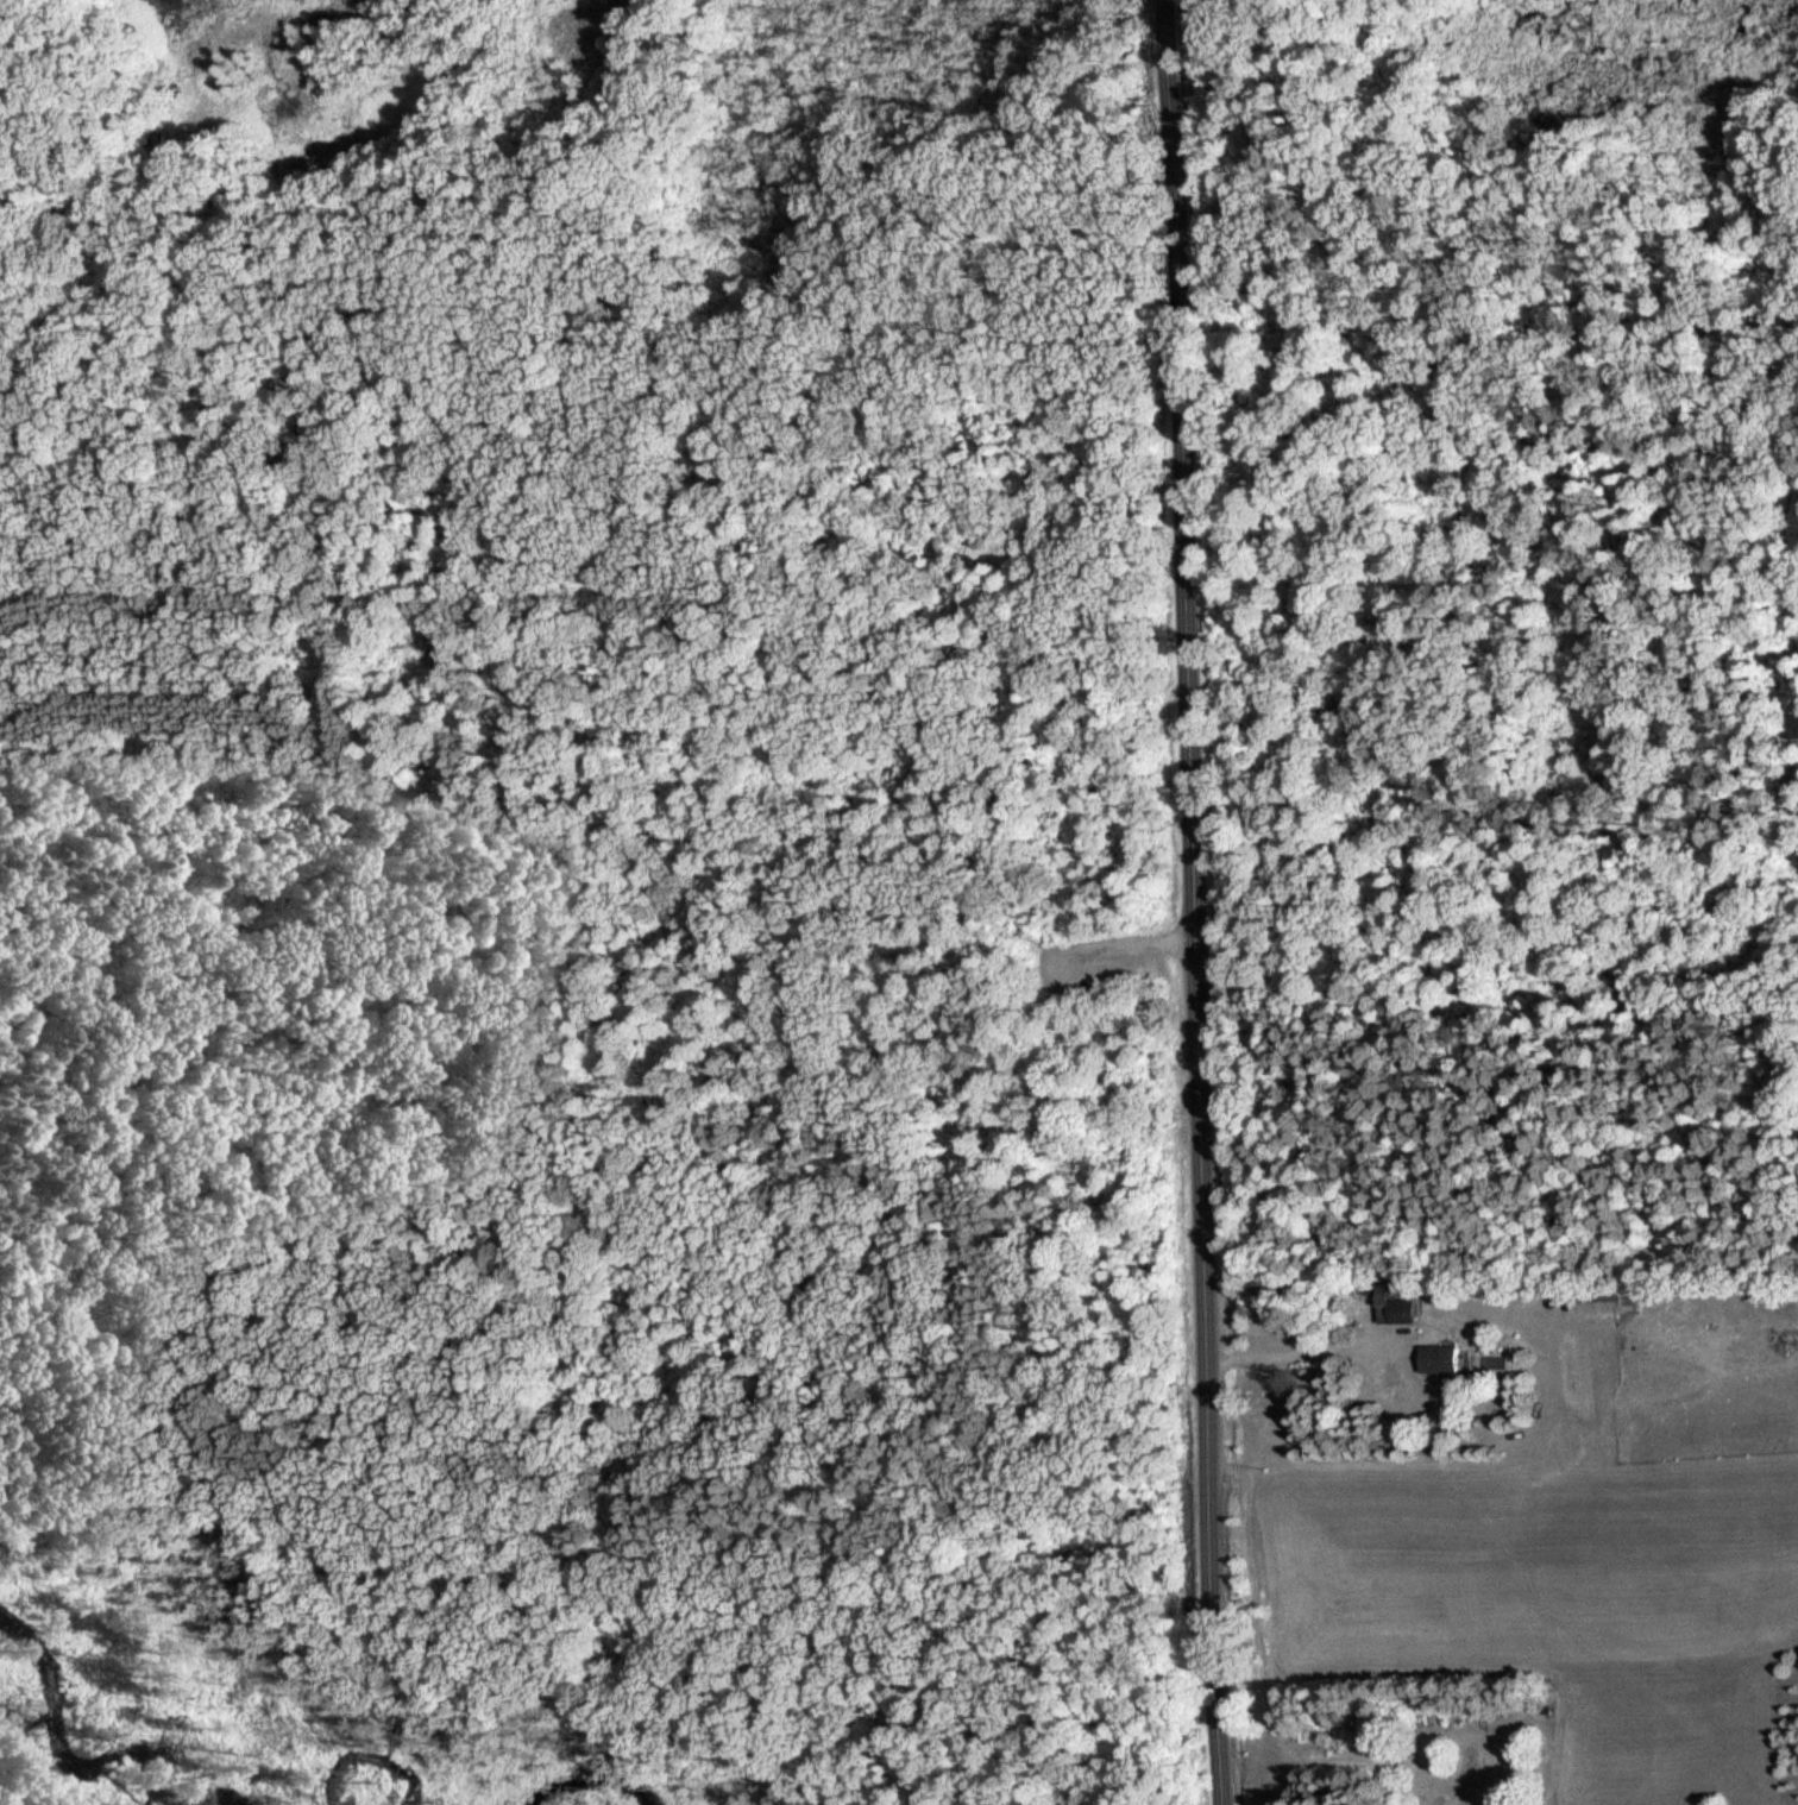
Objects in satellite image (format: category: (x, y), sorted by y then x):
road: (782, 442)
road: (121, 512)
road: (1192, 901)
road: (520, 913)
parking lot: (1093, 932)
road: (1115, 933)
parking lot: (1093, 938)
building: (1596, 1301)
building: (1395, 1302)
road: (1293, 1348)
building: (1439, 1358)
road: (749, 1599)

